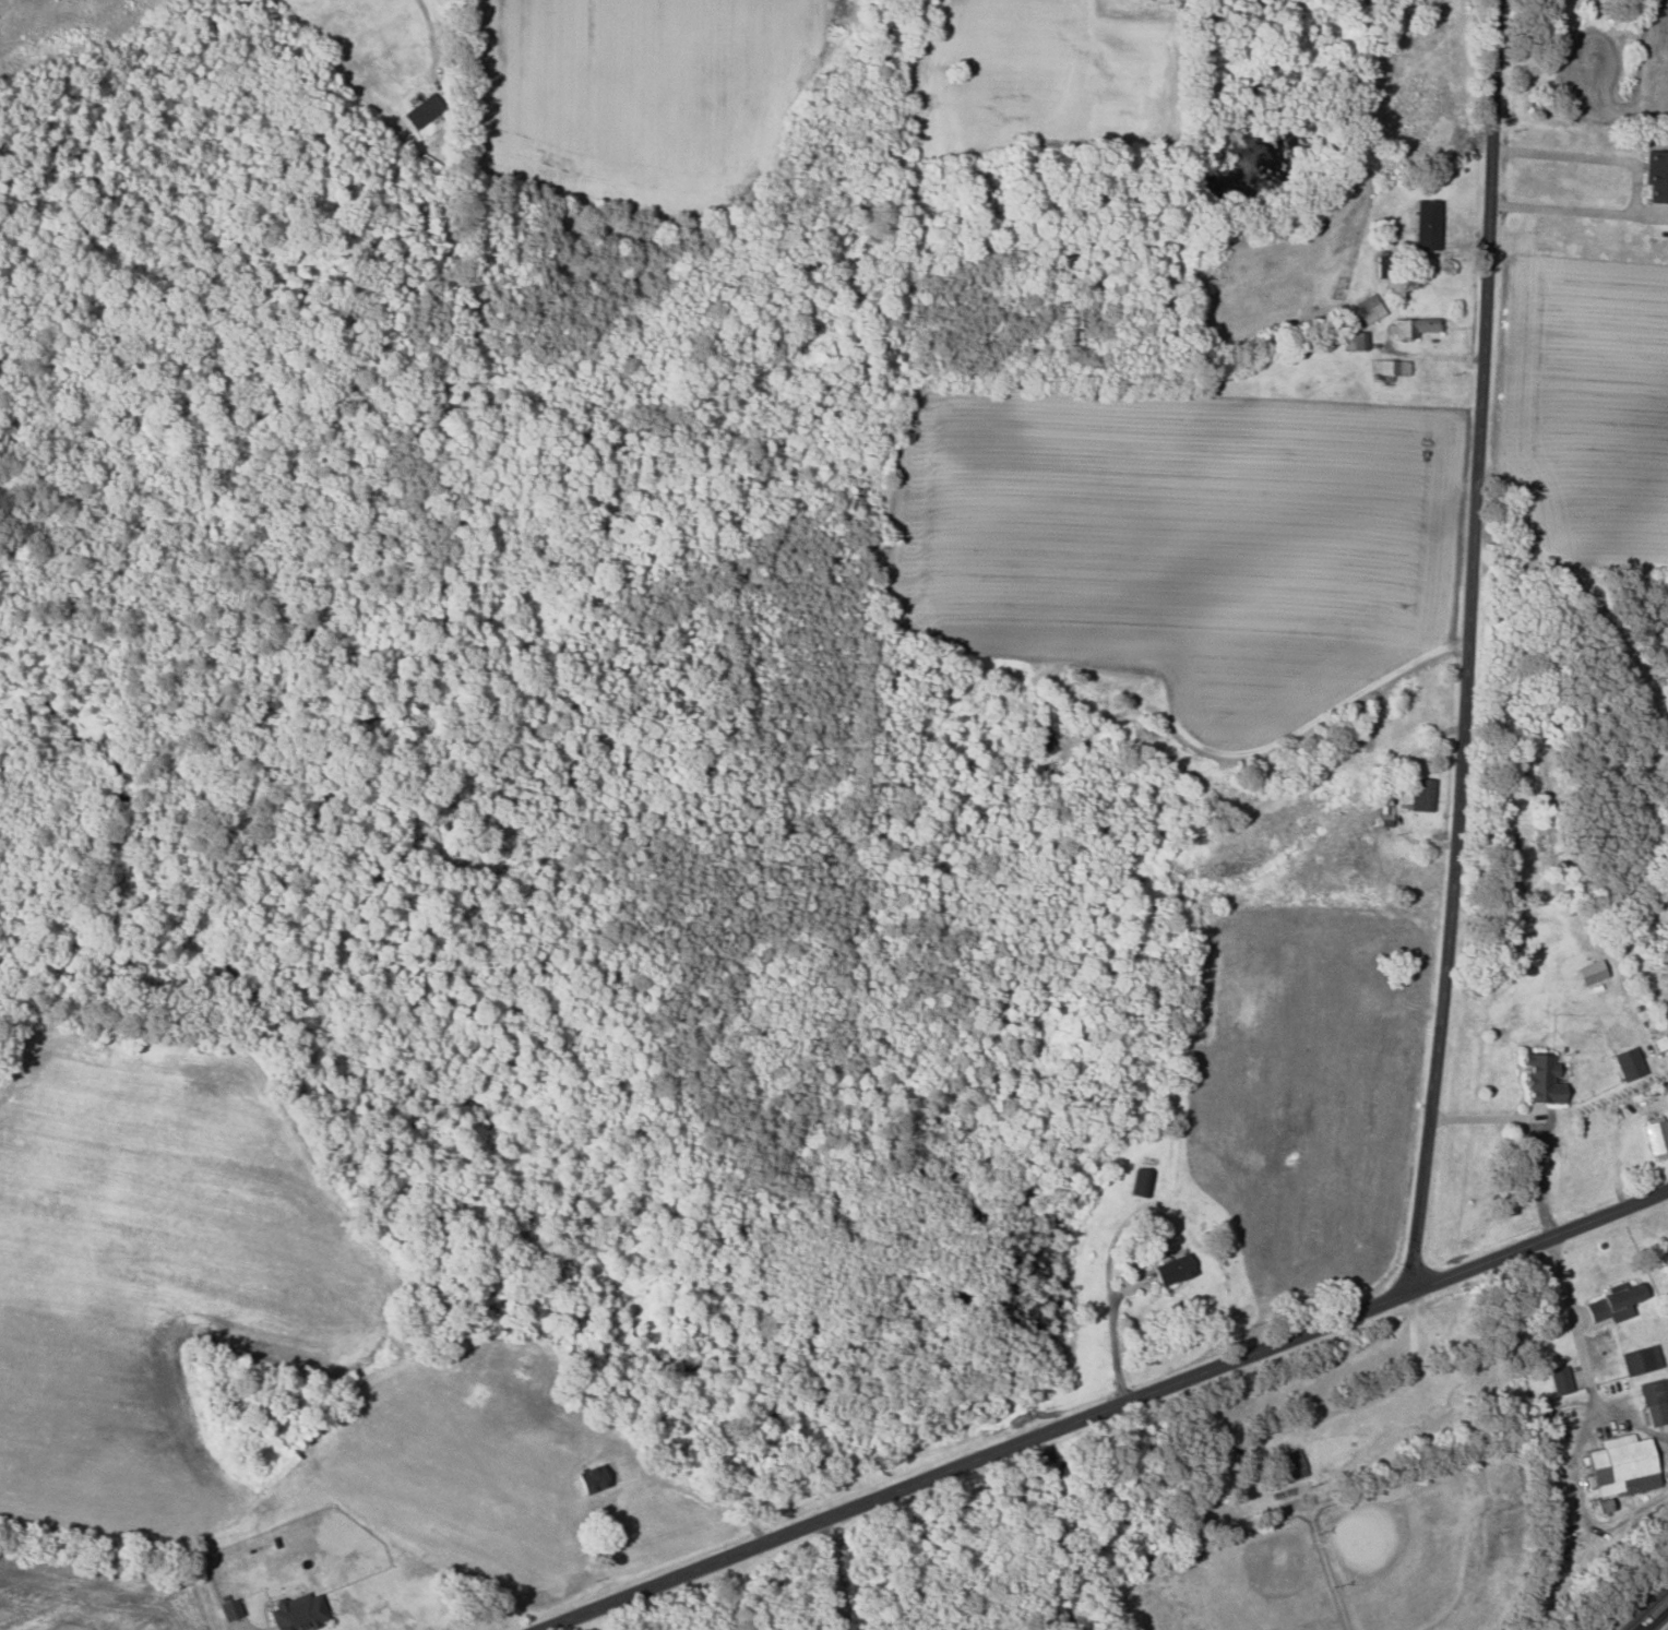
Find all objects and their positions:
road: (431, 37)
building: (420, 110)
building: (1655, 176)
road: (1637, 185)
building: (1426, 225)
building: (1368, 309)
building: (1410, 328)
building: (1355, 341)
building: (1389, 367)
building: (859, 497)
road: (1467, 645)
building: (1045, 741)
building: (1420, 796)
building: (1587, 972)
building: (1627, 1062)
building: (1539, 1079)
road: (1538, 1125)
building: (1656, 1139)
building: (1140, 1182)
building: (1170, 1269)
building: (1611, 1304)
road: (1572, 1326)
building: (1639, 1359)
building: (1558, 1379)
building: (1654, 1400)
road: (1100, 1408)
building: (1619, 1465)
park: (1425, 1551)
road: (831, 1571)
park: (1230, 1584)
building: (228, 1607)
building: (296, 1613)
road: (1656, 1619)
road: (235, 1626)

